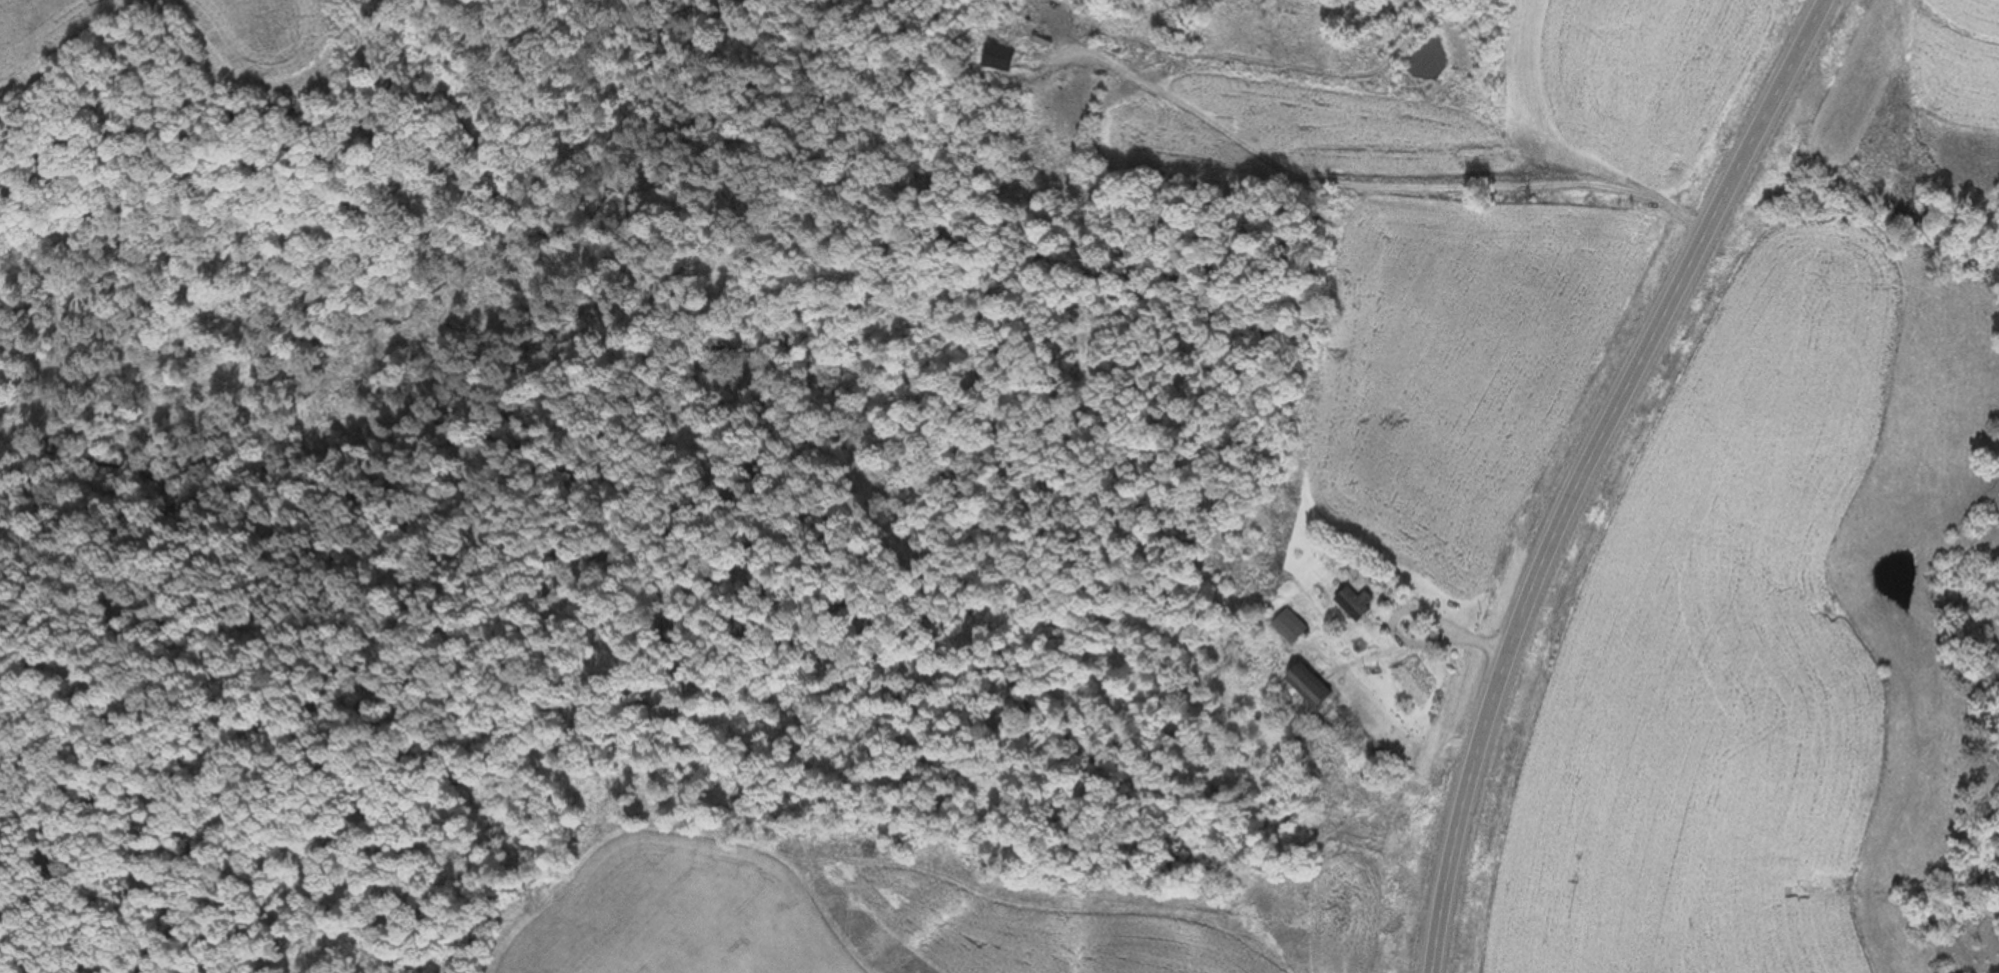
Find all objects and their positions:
building: (997, 58)
road: (1384, 186)
road: (1586, 470)
building: (1352, 604)
building: (1289, 628)
building: (1308, 686)

